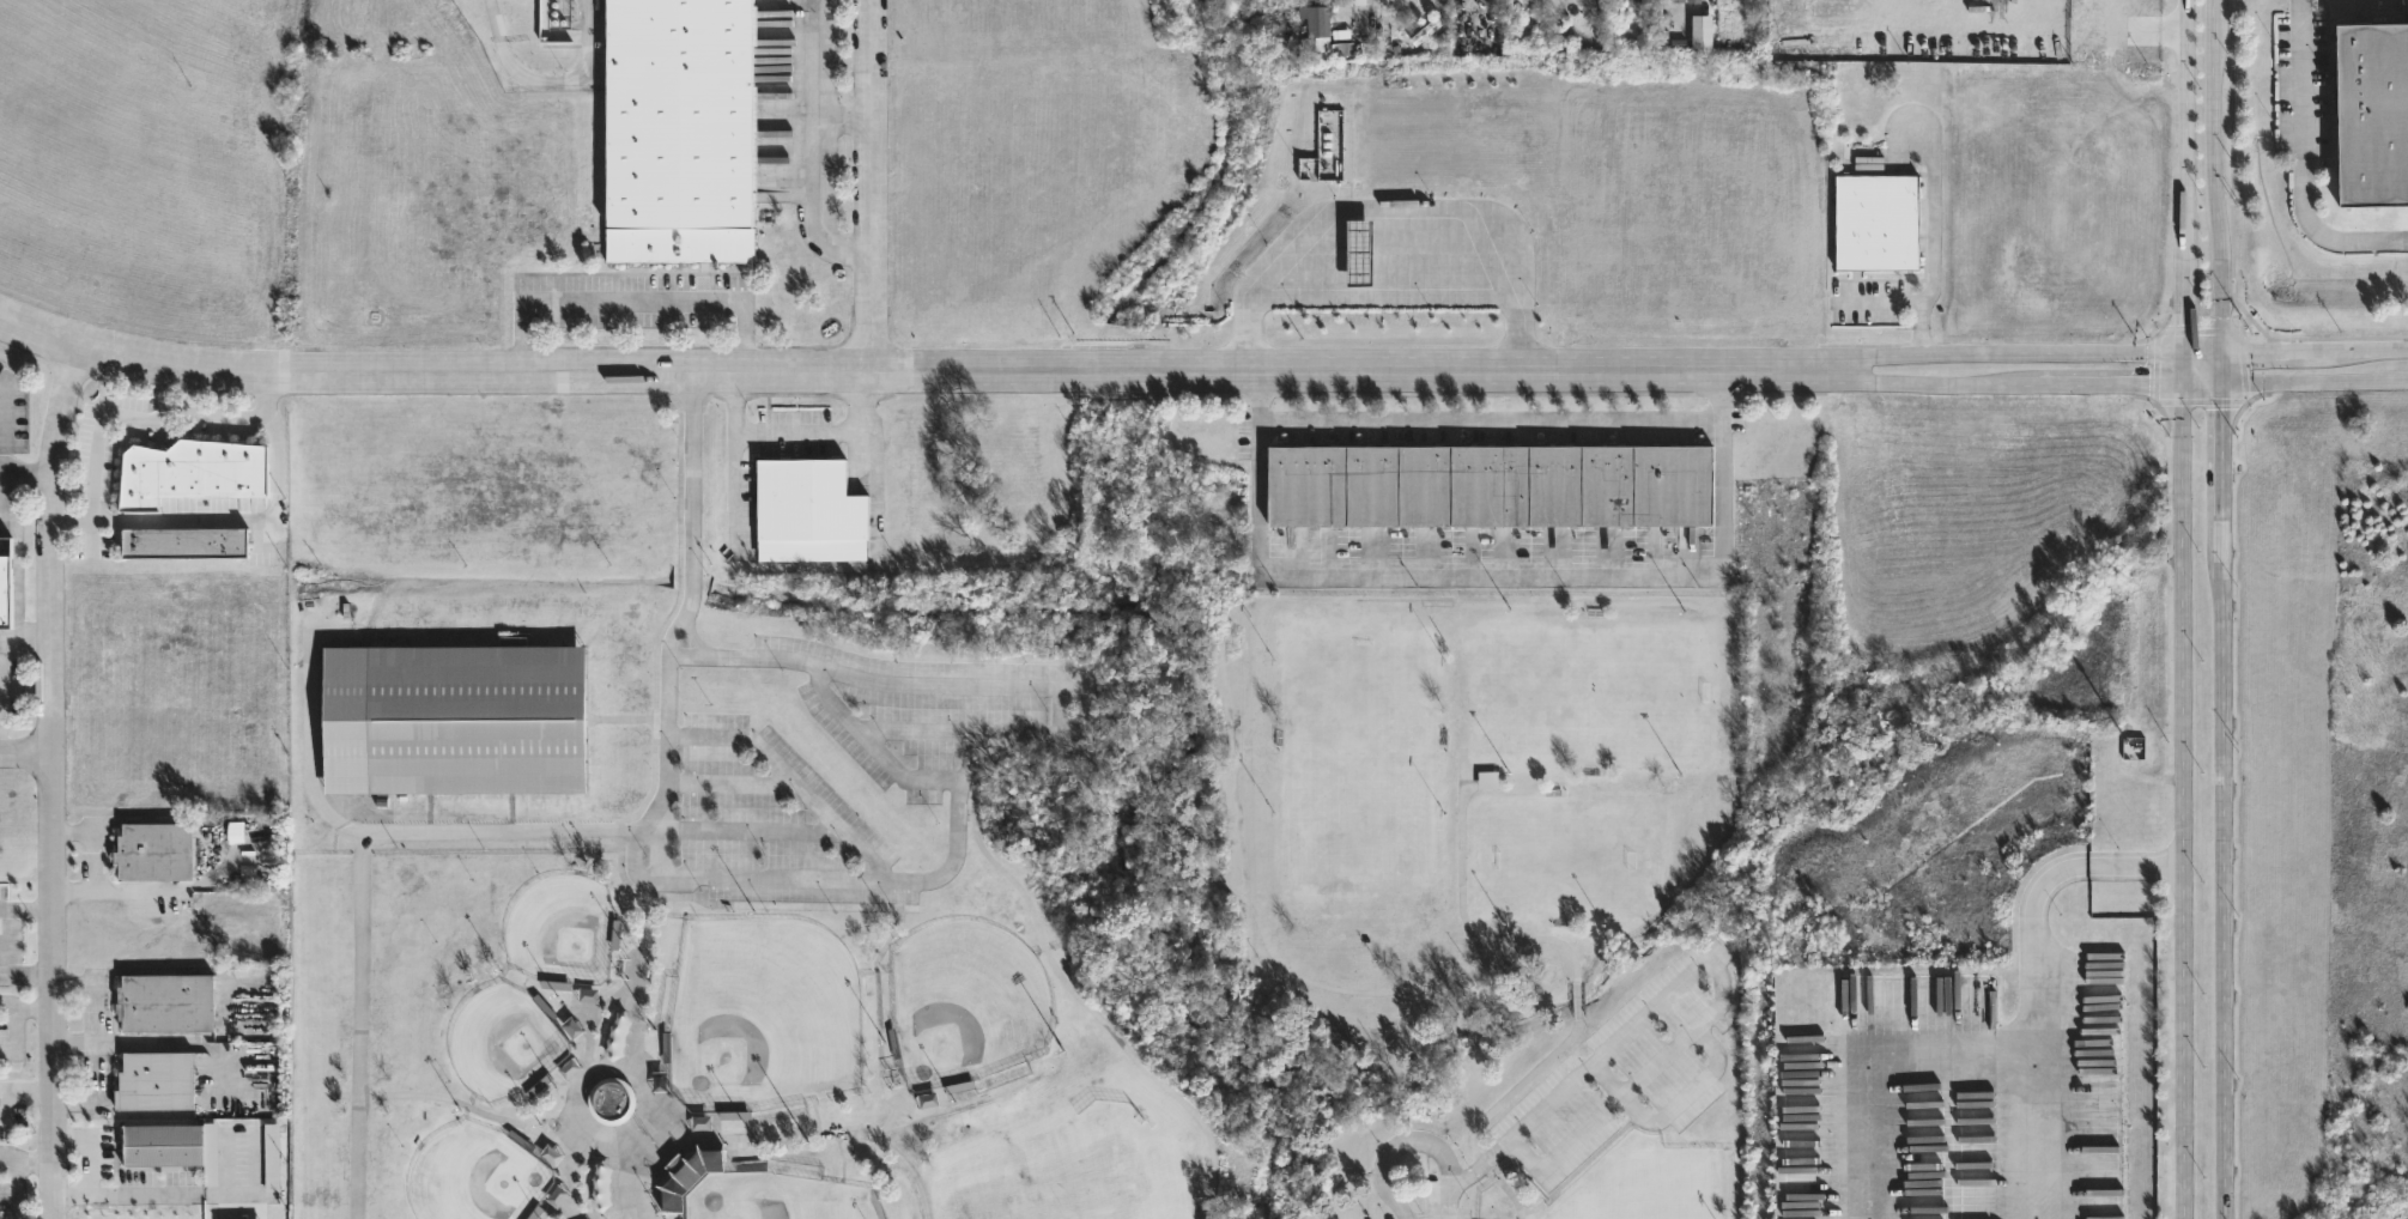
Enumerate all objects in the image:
building: (1632, 0)
building: (1685, 1)
road: (1704, 2)
road: (2210, 10)
road: (1373, 13)
building: (1314, 23)
road: (2061, 26)
building: (1425, 28)
building: (1700, 32)
road: (2184, 65)
building: (2371, 111)
road: (844, 125)
building: (681, 131)
road: (817, 148)
road: (2300, 165)
road: (872, 186)
road: (2212, 187)
building: (1876, 220)
road: (1931, 239)
road: (2185, 242)
building: (1358, 253)
road: (1382, 295)
road: (1885, 303)
road: (631, 304)
road: (2365, 351)
road: (2203, 353)
traffic signals: (2222, 353)
road: (2271, 353)
road: (2007, 354)
traffic signals: (2184, 354)
road: (2221, 368)
road: (2184, 369)
road: (911, 371)
road: (2295, 380)
traffic signals: (2221, 382)
road: (2007, 383)
traffic signals: (2184, 383)
road: (129, 416)
road: (1490, 418)
road: (4, 429)
road: (797, 430)
road: (28, 467)
road: (2221, 468)
building: (190, 469)
building: (1491, 486)
road: (734, 487)
building: (809, 511)
road: (233, 521)
building: (183, 540)
building: (5, 546)
road: (1491, 575)
building: (6, 592)
road: (8, 643)
road: (1050, 687)
park: (1587, 689)
building: (454, 720)
road: (311, 736)
road: (25, 753)
road: (975, 754)
park: (1360, 756)
road: (787, 774)
road: (51, 780)
building: (1487, 780)
road: (729, 784)
road: (2185, 800)
road: (1134, 818)
road: (353, 829)
road: (509, 831)
road: (748, 831)
building: (147, 848)
park: (1561, 855)
road: (769, 879)
road: (2224, 886)
park: (1523, 890)
road: (2, 905)
road: (1460, 905)
park: (796, 920)
road: (1037, 924)
park: (560, 928)
road: (4, 939)
road: (128, 970)
road: (2027, 974)
road: (1296, 976)
road: (1721, 987)
road: (1576, 999)
building: (164, 1000)
park: (965, 1001)
road: (25, 1012)
park: (763, 1013)
road: (359, 1026)
park: (502, 1042)
road: (160, 1044)
road: (1867, 1060)
building: (154, 1077)
road: (1606, 1078)
road: (1686, 1092)
building: (611, 1102)
road: (1486, 1109)
road: (119, 1115)
road: (837, 1134)
road: (1411, 1140)
building: (163, 1141)
road: (85, 1148)
building: (271, 1157)
road: (26, 1159)
road: (1478, 1163)
building: (687, 1173)
park: (475, 1175)
road: (18, 1188)
park: (1652, 1191)
road: (180, 1193)
park: (777, 1196)

